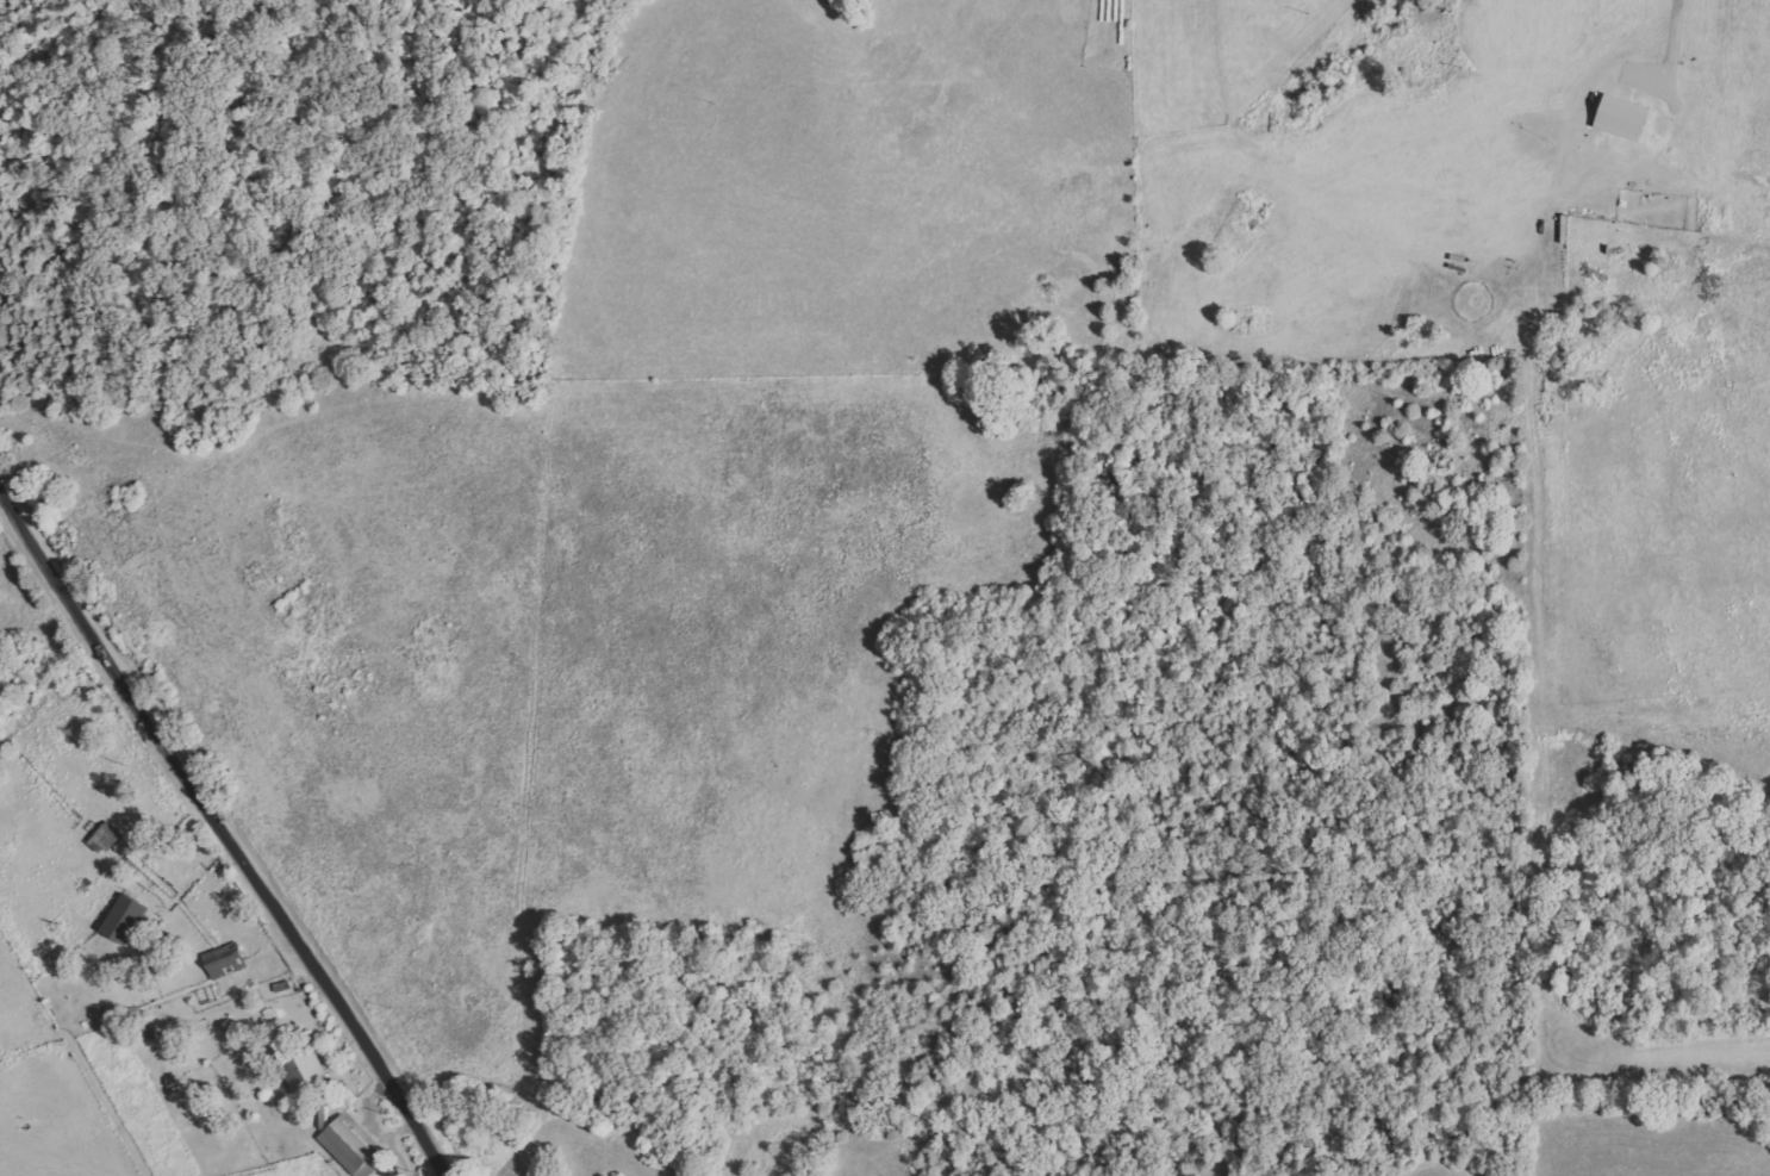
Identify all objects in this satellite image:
building: (1623, 117)
road: (225, 827)
building: (127, 921)
building: (224, 960)
building: (301, 1068)
building: (350, 1149)

